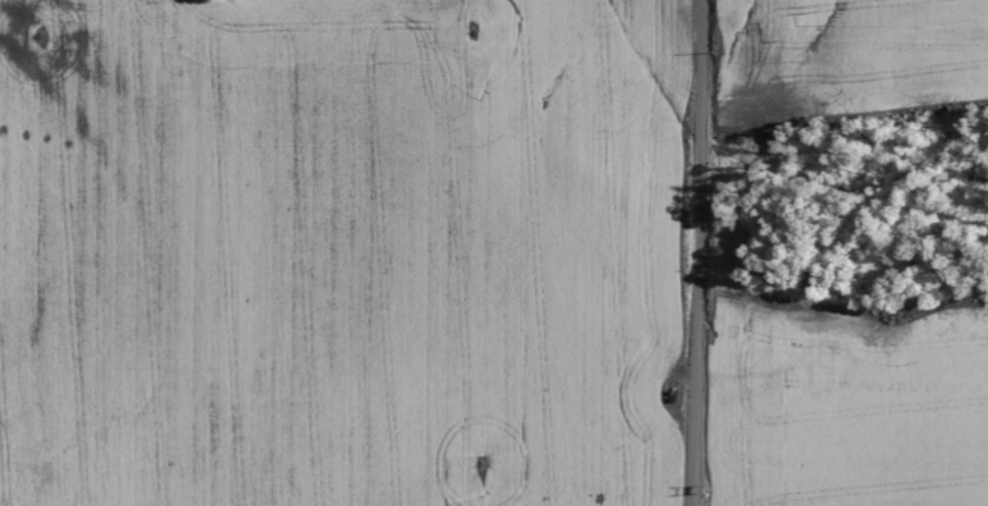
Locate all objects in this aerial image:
road: (698, 252)

